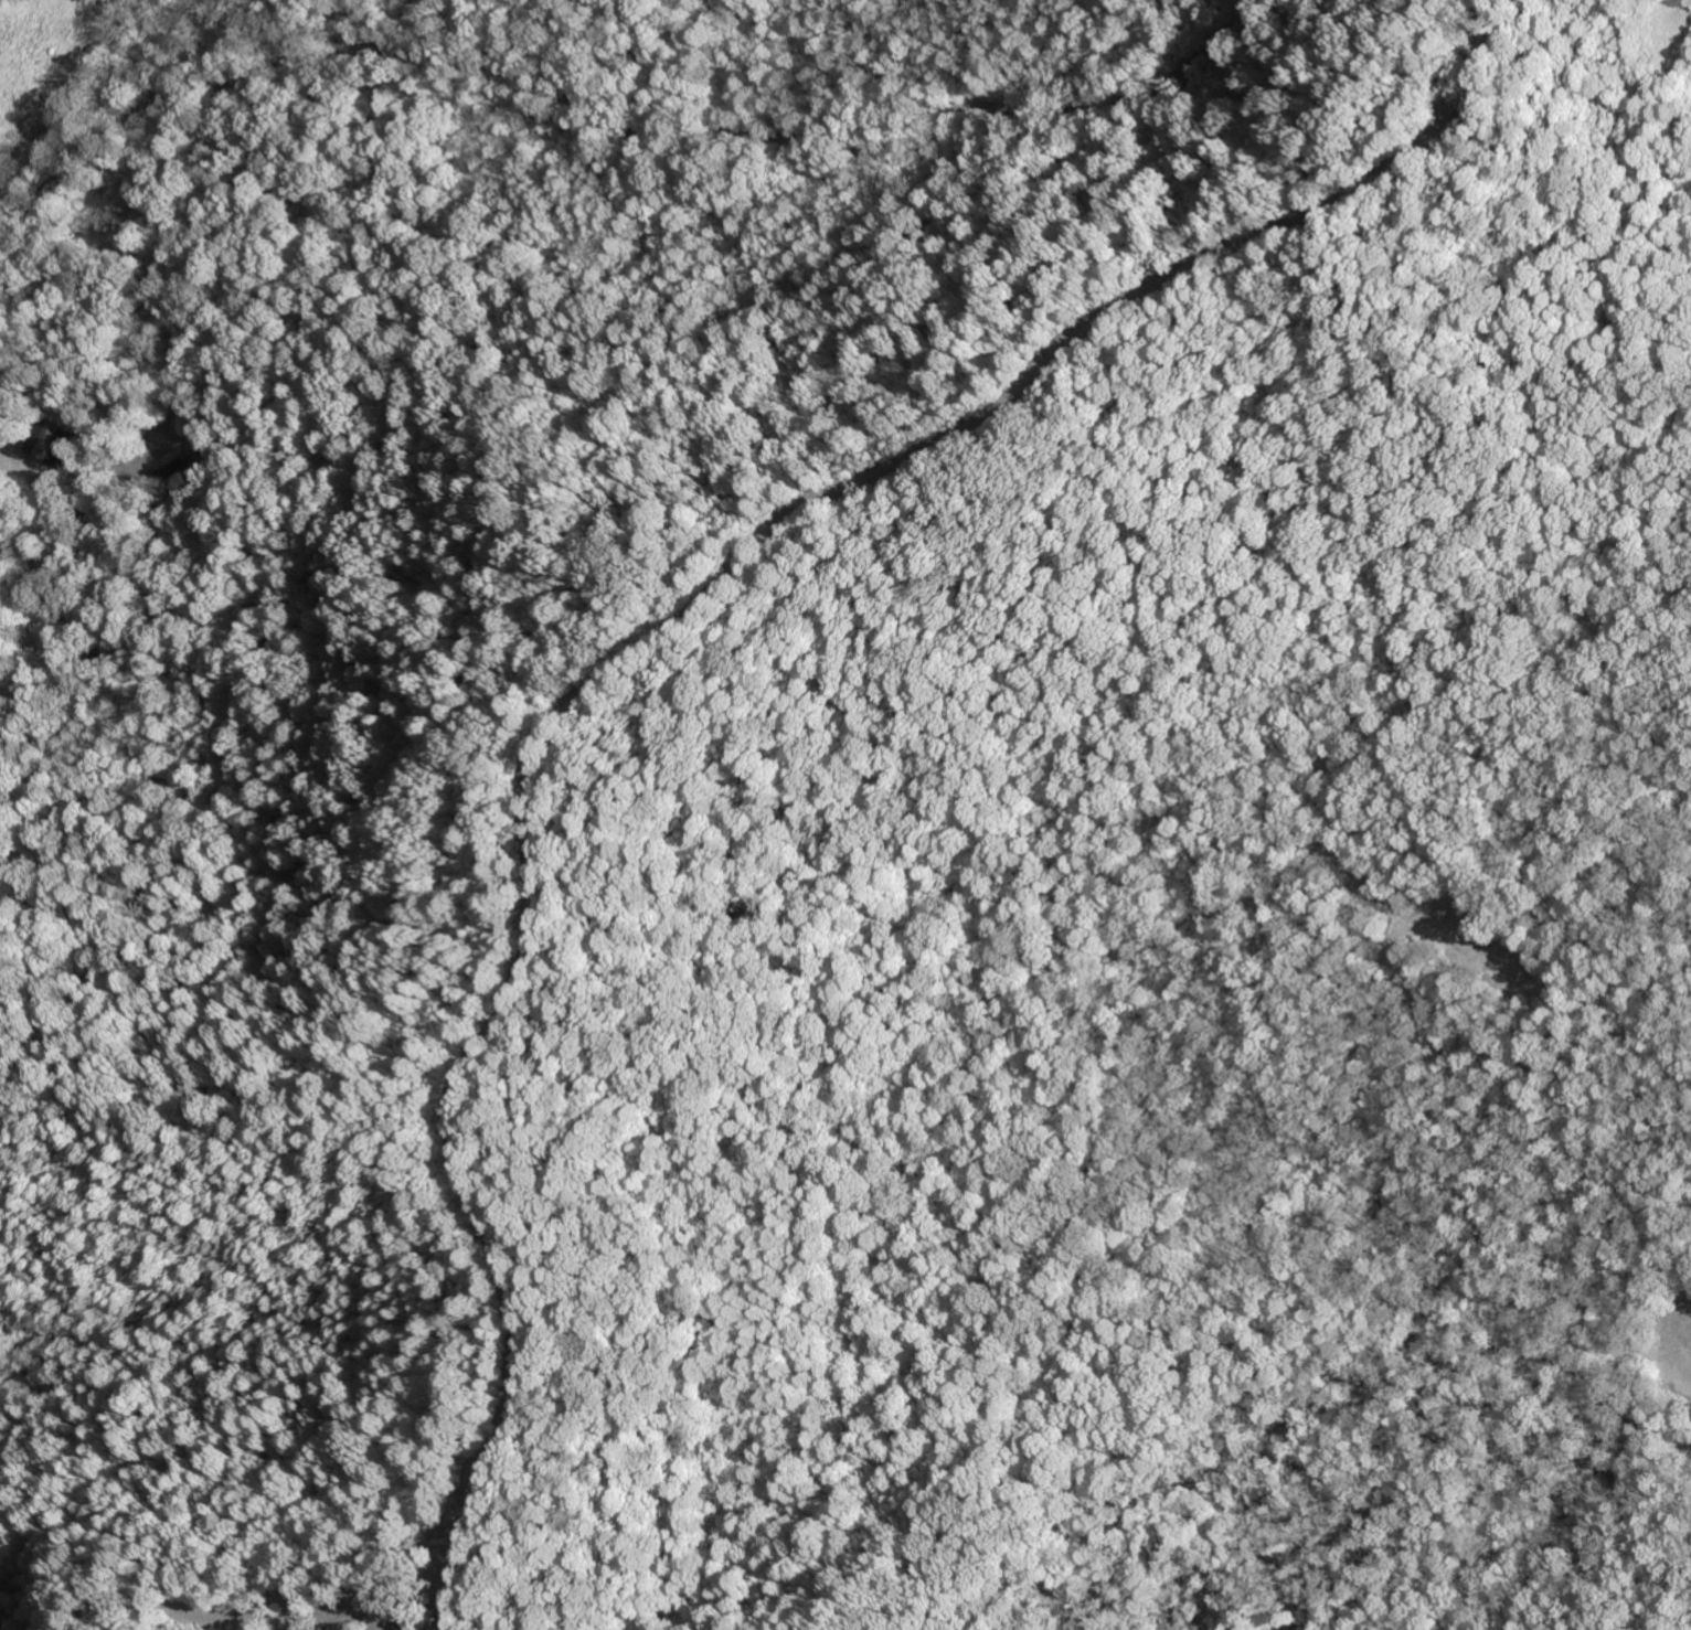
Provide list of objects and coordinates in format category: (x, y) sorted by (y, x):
road: (626, 131)
road: (815, 277)
building: (49, 444)
road: (658, 637)

